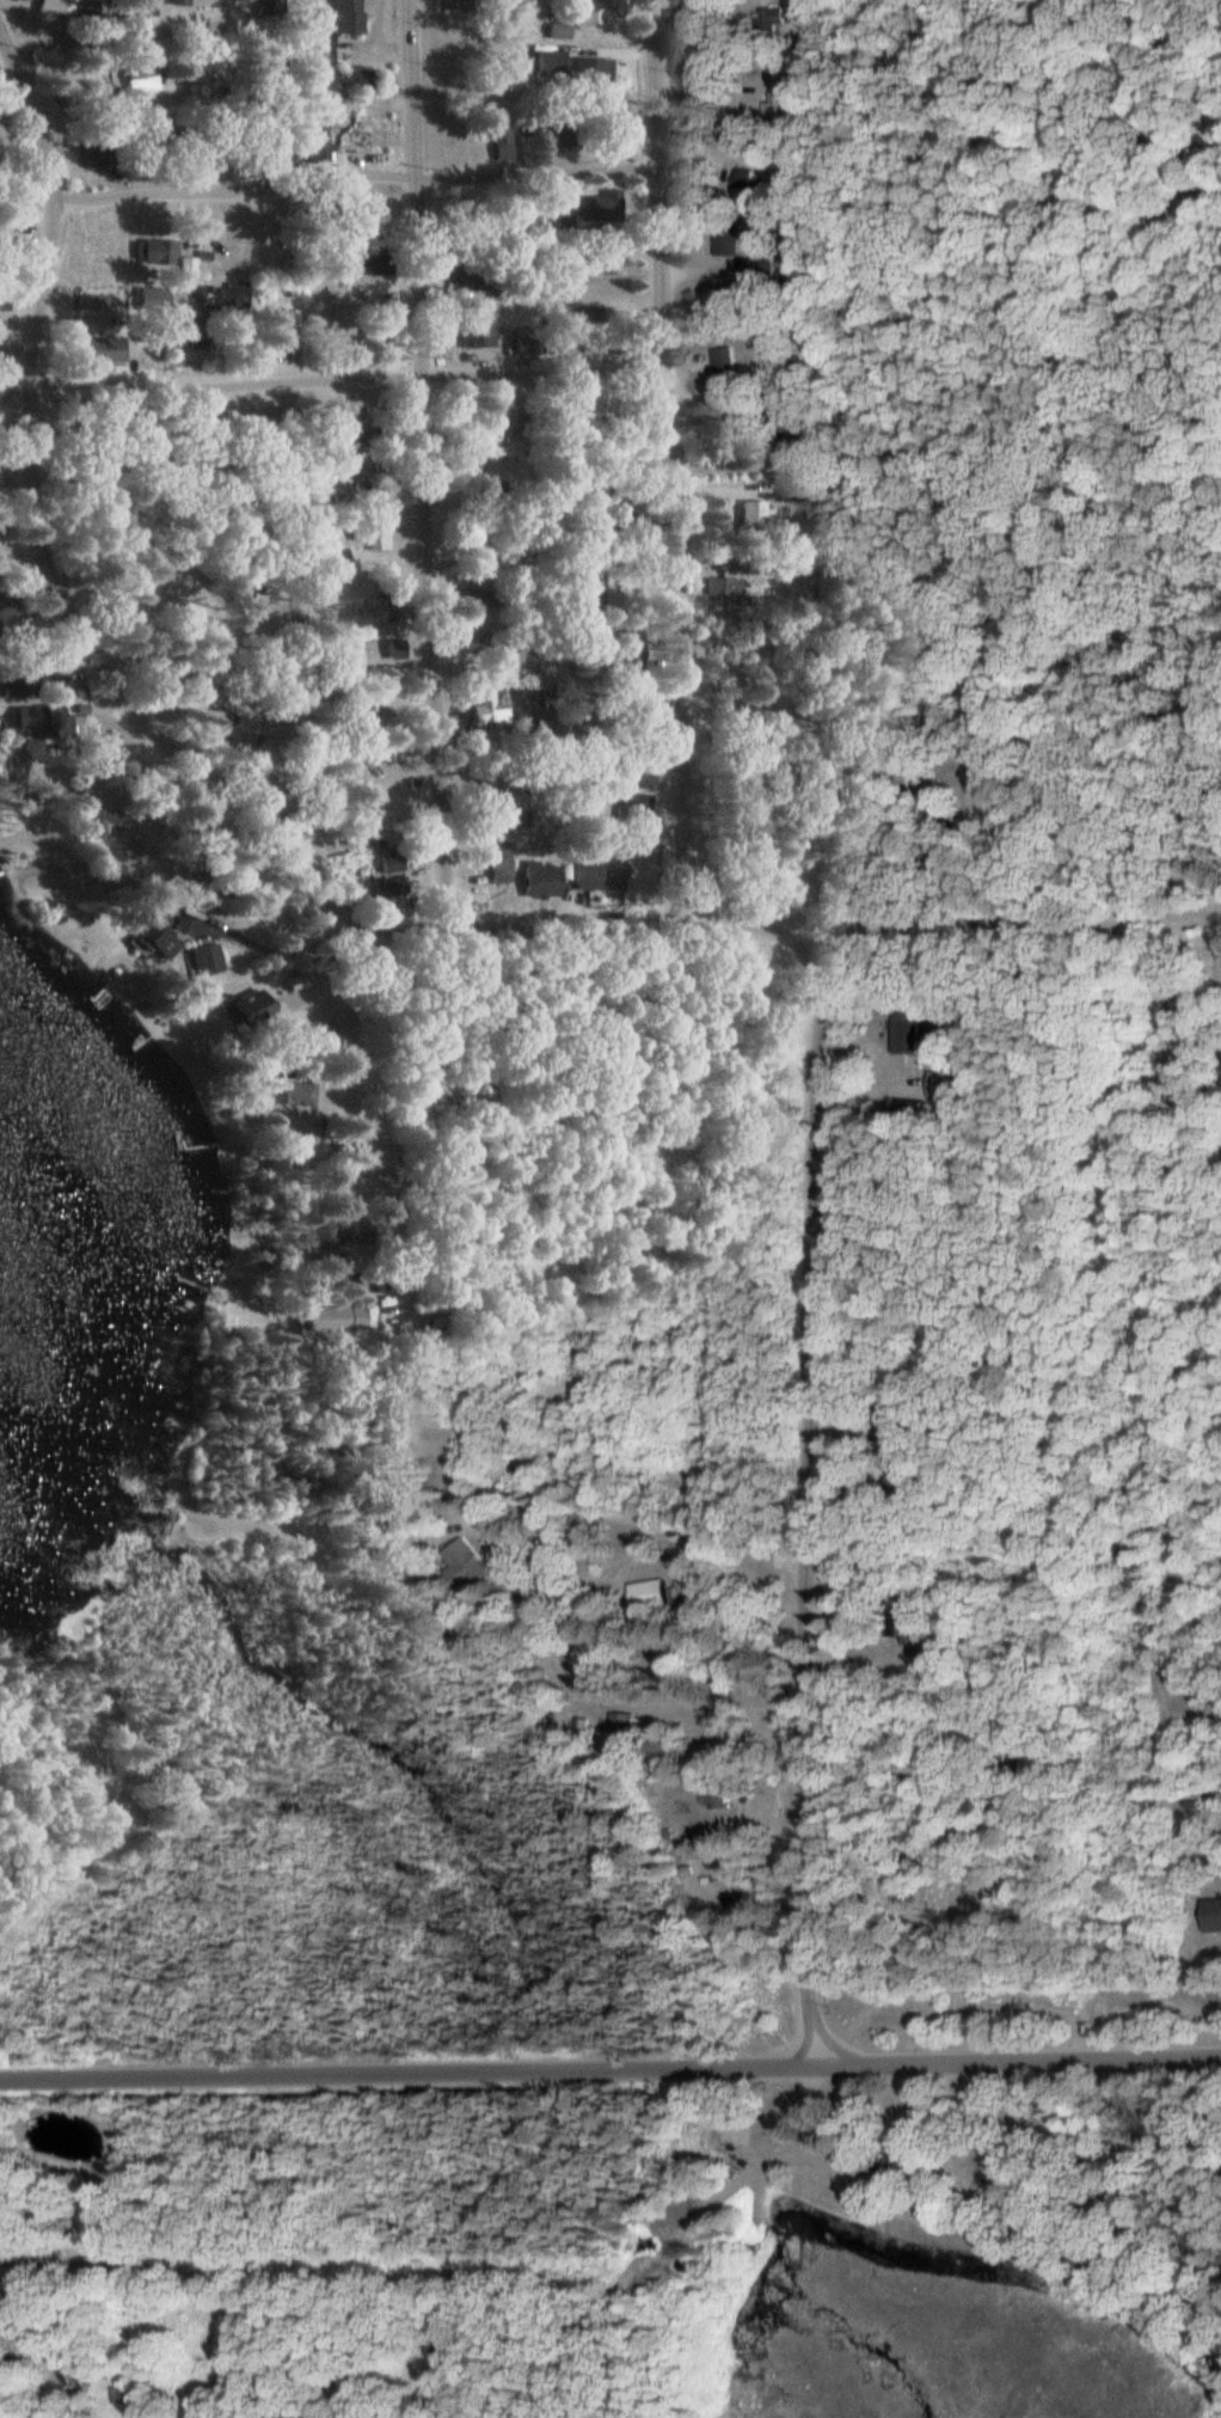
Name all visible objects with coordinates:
building: (180, 2)
building: (268, 7)
building: (446, 8)
building: (590, 11)
building: (349, 17)
building: (556, 29)
road: (109, 37)
building: (547, 60)
building: (588, 73)
building: (143, 81)
building: (356, 81)
building: (791, 100)
building: (609, 131)
building: (559, 135)
building: (498, 139)
road: (350, 176)
building: (748, 178)
building: (597, 204)
building: (726, 234)
building: (152, 249)
building: (600, 253)
building: (373, 259)
building: (458, 269)
building: (757, 273)
building: (571, 276)
building: (480, 286)
building: (88, 301)
building: (587, 314)
building: (375, 319)
building: (270, 325)
building: (475, 325)
building: (527, 342)
building: (94, 350)
building: (724, 357)
road: (332, 378)
building: (528, 428)
building: (614, 428)
building: (792, 440)
road: (665, 461)
road: (424, 464)
building: (350, 486)
building: (791, 491)
building: (755, 513)
building: (370, 533)
road: (42, 544)
building: (7, 584)
building: (728, 593)
building: (7, 611)
building: (12, 677)
building: (483, 709)
building: (29, 720)
road: (456, 740)
building: (112, 816)
building: (393, 864)
building: (585, 876)
road: (1013, 919)
road: (746, 926)
road: (521, 928)
building: (249, 1011)
building: (918, 1041)
building: (301, 1094)
road: (392, 1208)
building: (326, 1236)
building: (348, 1277)
road: (814, 1317)
building: (342, 1318)
road: (632, 1519)
building: (403, 1530)
building: (935, 1560)
building: (461, 1562)
road: (600, 1571)
building: (654, 1592)
building: (590, 1655)
building: (932, 1659)
building: (624, 1727)
building: (112, 1800)
road: (811, 1879)
building: (1213, 1914)
road: (90, 1972)
road: (610, 2069)
building: (1006, 2180)
building: (139, 2391)

